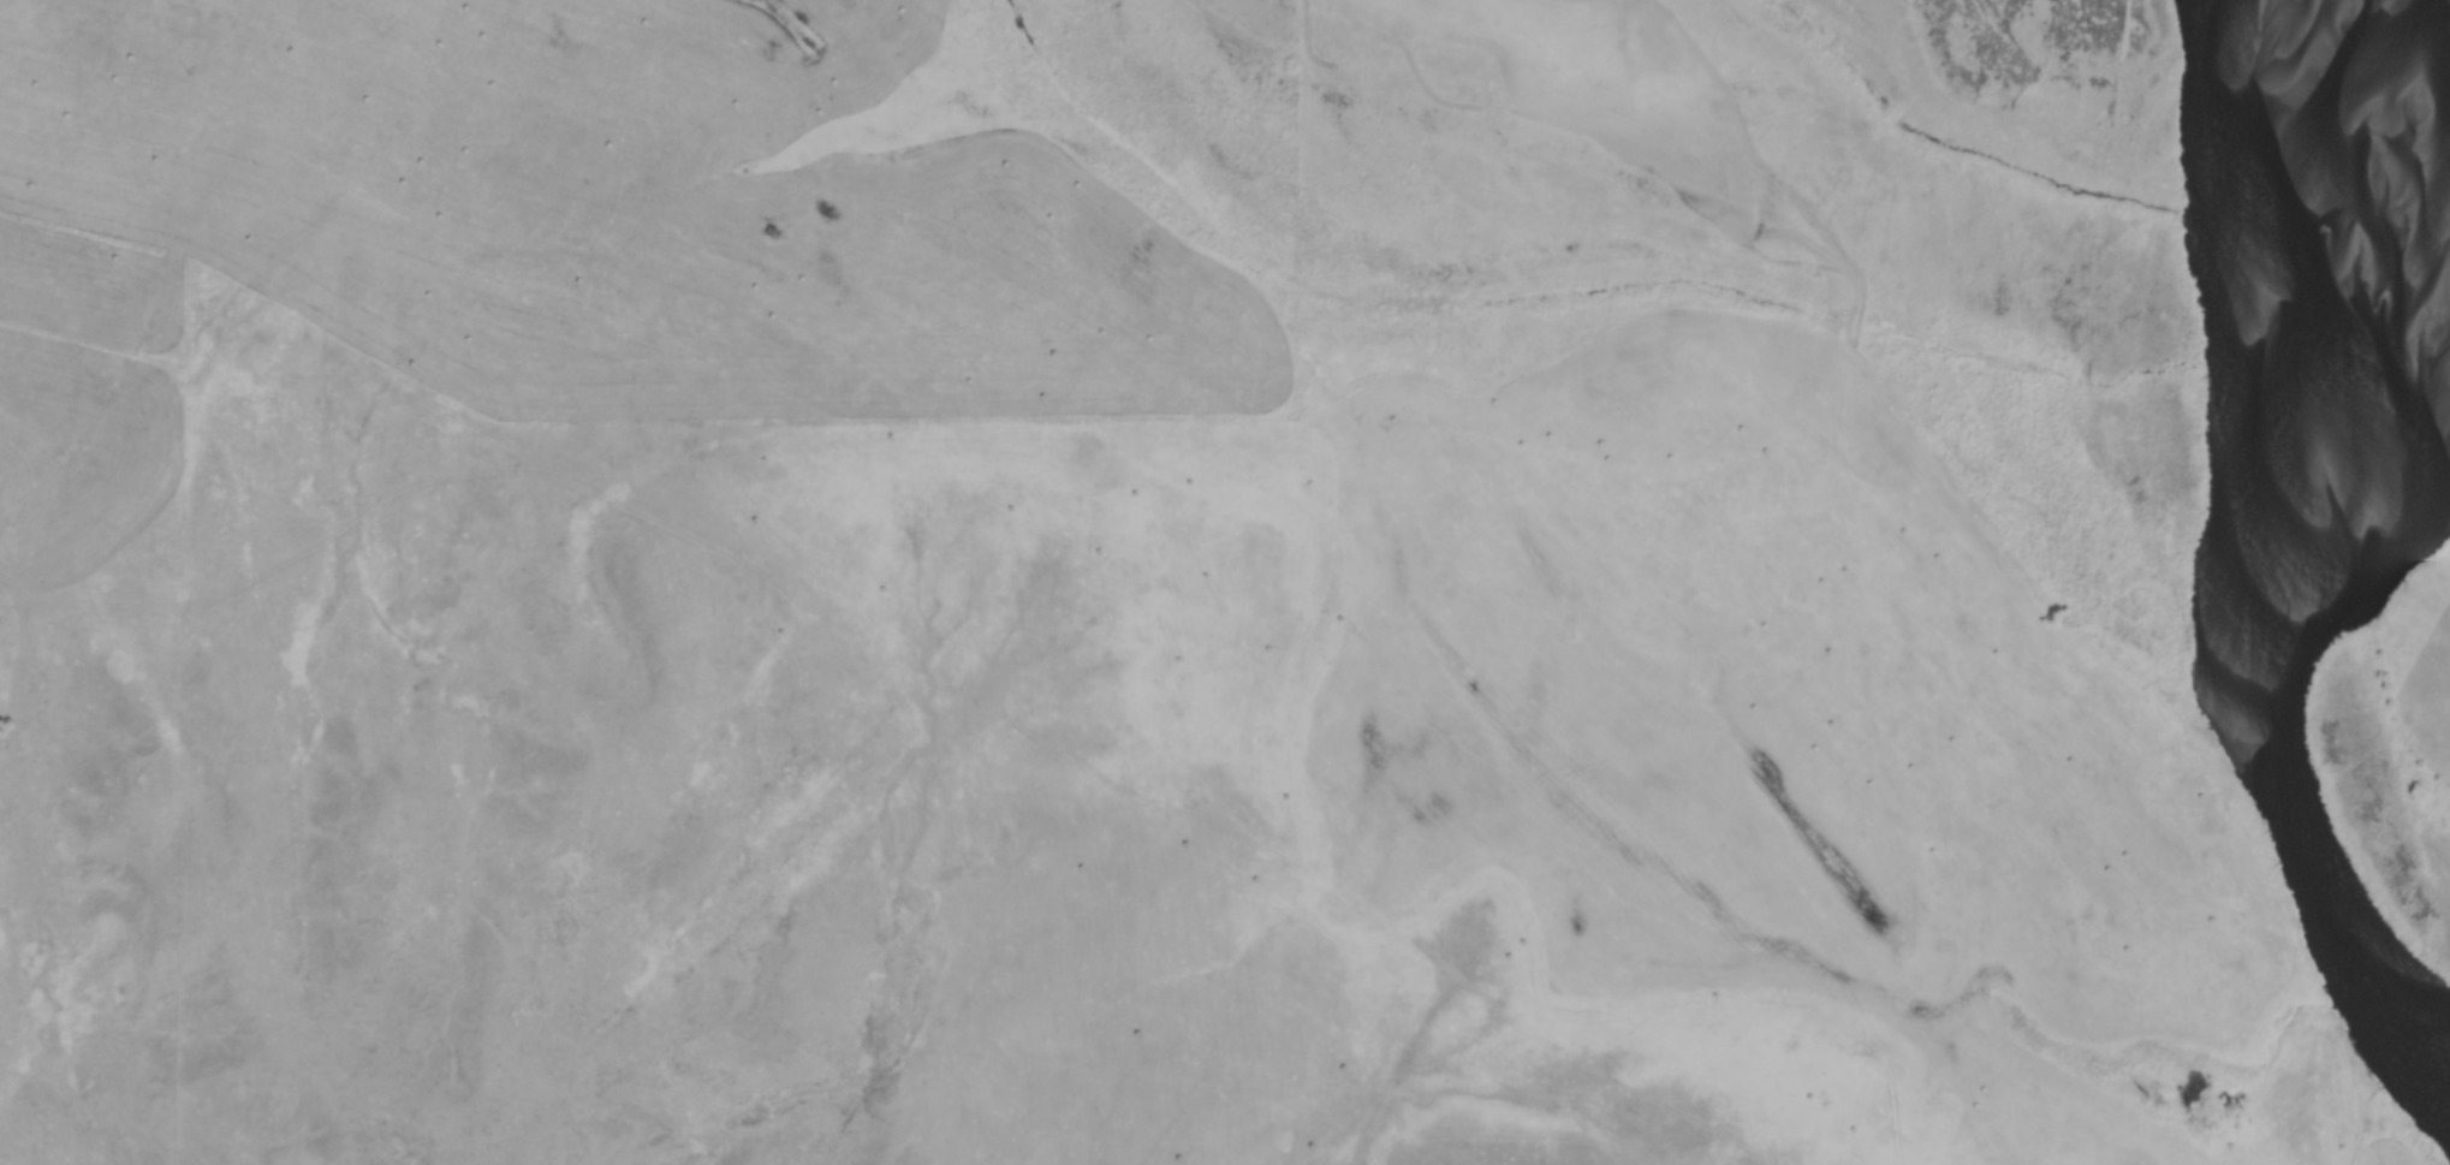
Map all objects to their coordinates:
river: (2284, 533)

